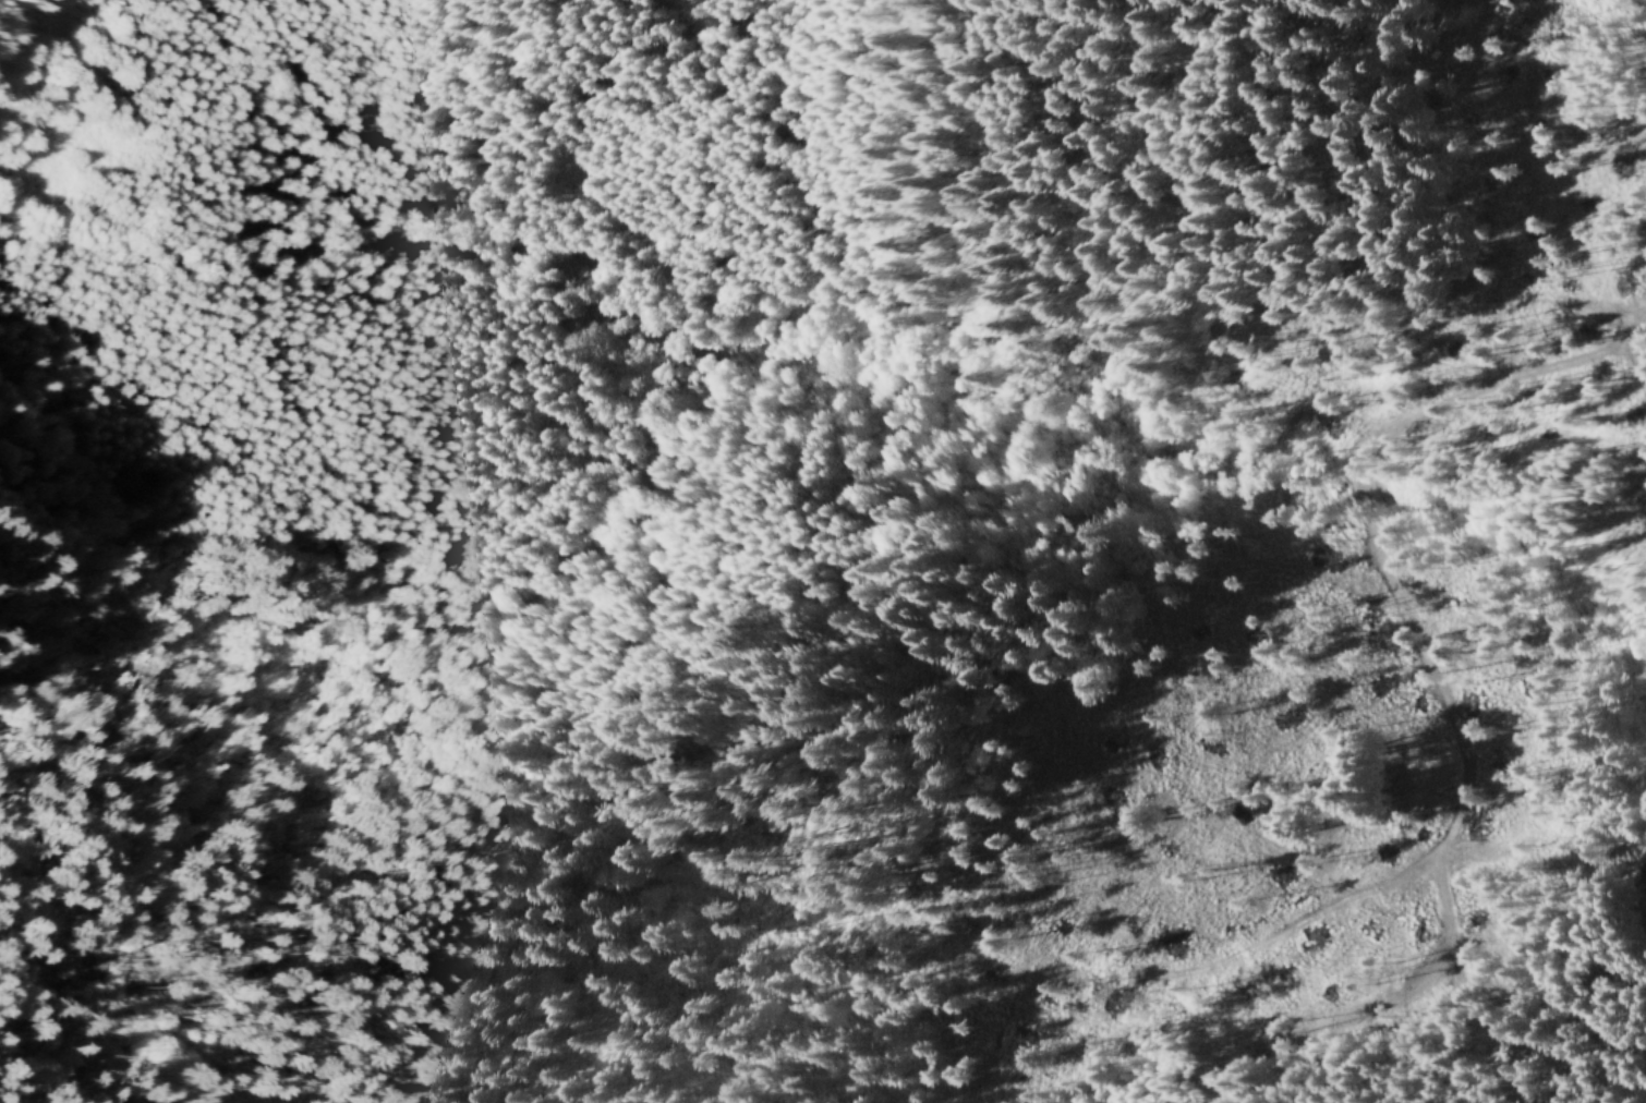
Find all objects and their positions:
building: (1641, 876)

